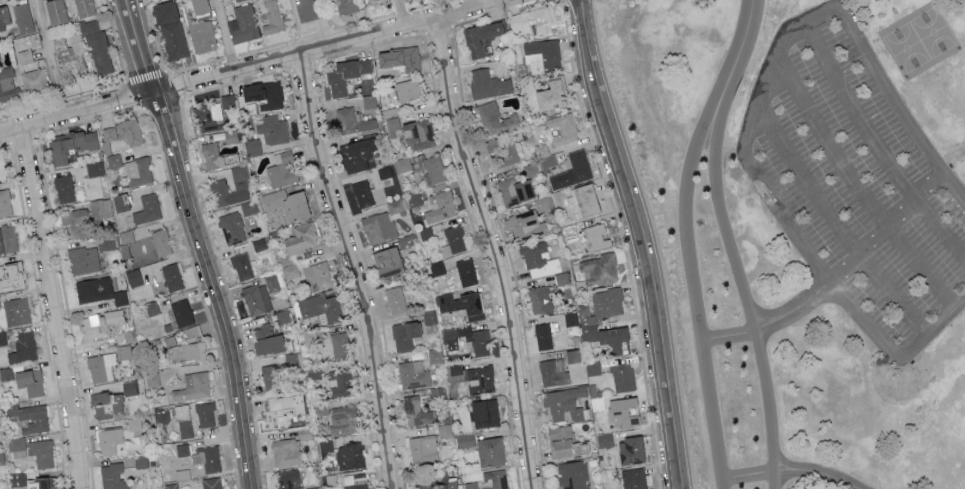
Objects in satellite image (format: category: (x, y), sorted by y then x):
building: (234, 0)
building: (371, 1)
road: (489, 2)
road: (498, 2)
building: (199, 6)
building: (345, 6)
building: (84, 7)
road: (466, 10)
building: (55, 11)
road: (399, 14)
building: (4, 16)
building: (271, 17)
building: (23, 18)
building: (532, 20)
building: (242, 23)
road: (313, 24)
building: (170, 29)
road: (381, 33)
building: (202, 35)
road: (224, 36)
building: (480, 37)
park: (922, 41)
road: (743, 45)
building: (97, 48)
road: (312, 52)
building: (541, 55)
building: (25, 56)
building: (69, 57)
building: (389, 57)
building: (410, 57)
building: (0, 58)
road: (48, 58)
road: (123, 70)
building: (345, 74)
building: (33, 79)
building: (7, 83)
building: (487, 83)
building: (407, 89)
building: (263, 93)
road: (134, 94)
road: (151, 94)
building: (550, 94)
building: (227, 100)
building: (368, 100)
road: (60, 101)
road: (27, 110)
building: (207, 115)
building: (493, 118)
road: (89, 120)
building: (352, 121)
road: (753, 122)
building: (562, 128)
building: (272, 129)
building: (123, 131)
building: (410, 131)
building: (230, 135)
road: (23, 138)
road: (5, 143)
building: (71, 144)
road: (874, 144)
building: (252, 146)
building: (541, 149)
building: (356, 153)
building: (210, 155)
building: (227, 157)
building: (113, 160)
building: (577, 165)
building: (422, 166)
building: (2, 168)
building: (94, 168)
building: (281, 168)
building: (138, 170)
building: (386, 172)
parking lot: (858, 182)
building: (217, 185)
building: (63, 188)
road: (857, 188)
building: (514, 190)
building: (362, 193)
building: (414, 198)
building: (584, 199)
building: (121, 201)
building: (5, 203)
building: (286, 203)
building: (543, 203)
building: (395, 206)
building: (248, 207)
building: (100, 208)
building: (147, 208)
building: (525, 222)
park: (804, 222)
building: (75, 224)
building: (378, 226)
road: (835, 226)
building: (230, 227)
road: (884, 229)
building: (425, 232)
building: (126, 236)
building: (595, 236)
building: (301, 237)
building: (8, 238)
building: (453, 239)
building: (405, 240)
road: (644, 241)
building: (160, 242)
road: (198, 242)
building: (259, 243)
road: (493, 251)
building: (534, 254)
building: (83, 259)
building: (386, 261)
building: (241, 265)
building: (598, 269)
road: (354, 270)
building: (438, 271)
building: (465, 271)
building: (309, 272)
building: (11, 275)
building: (171, 276)
building: (133, 277)
building: (561, 277)
building: (274, 281)
road: (693, 285)
road: (741, 288)
building: (93, 289)
road: (201, 295)
building: (120, 296)
building: (256, 298)
building: (394, 299)
building: (539, 299)
building: (606, 301)
building: (462, 304)
building: (152, 307)
road: (54, 308)
building: (318, 308)
building: (14, 311)
road: (66, 311)
building: (181, 312)
road: (41, 315)
building: (282, 316)
building: (429, 317)
building: (570, 318)
building: (98, 323)
road: (769, 326)
building: (191, 331)
building: (601, 331)
building: (404, 335)
building: (542, 335)
building: (2, 337)
building: (266, 338)
building: (467, 338)
building: (340, 345)
building: (23, 347)
building: (184, 350)
building: (124, 351)
building: (572, 355)
building: (290, 359)
building: (100, 366)
building: (593, 367)
building: (269, 370)
building: (4, 373)
building: (551, 373)
building: (413, 374)
building: (621, 376)
building: (475, 378)
building: (28, 381)
building: (340, 381)
building: (130, 386)
building: (192, 387)
building: (106, 403)
building: (565, 403)
building: (282, 406)
building: (321, 407)
building: (415, 410)
building: (180, 411)
building: (622, 411)
building: (484, 413)
building: (205, 414)
building: (27, 417)
building: (342, 419)
building: (134, 426)
building: (185, 428)
building: (444, 430)
building: (604, 439)
building: (108, 440)
building: (564, 441)
building: (16, 447)
building: (422, 448)
building: (483, 448)
building: (182, 449)
building: (630, 450)
building: (168, 451)
building: (285, 451)
building: (40, 452)
building: (348, 455)
building: (1, 457)
building: (206, 459)
building: (140, 461)
road: (785, 473)
building: (573, 474)
building: (111, 476)
building: (16, 478)
building: (633, 478)
building: (288, 479)
building: (355, 481)
building: (38, 482)
building: (211, 483)
building: (439, 484)
parking lot: (858, 485)
building: (170, 486)
road: (853, 486)
building: (312, 487)

